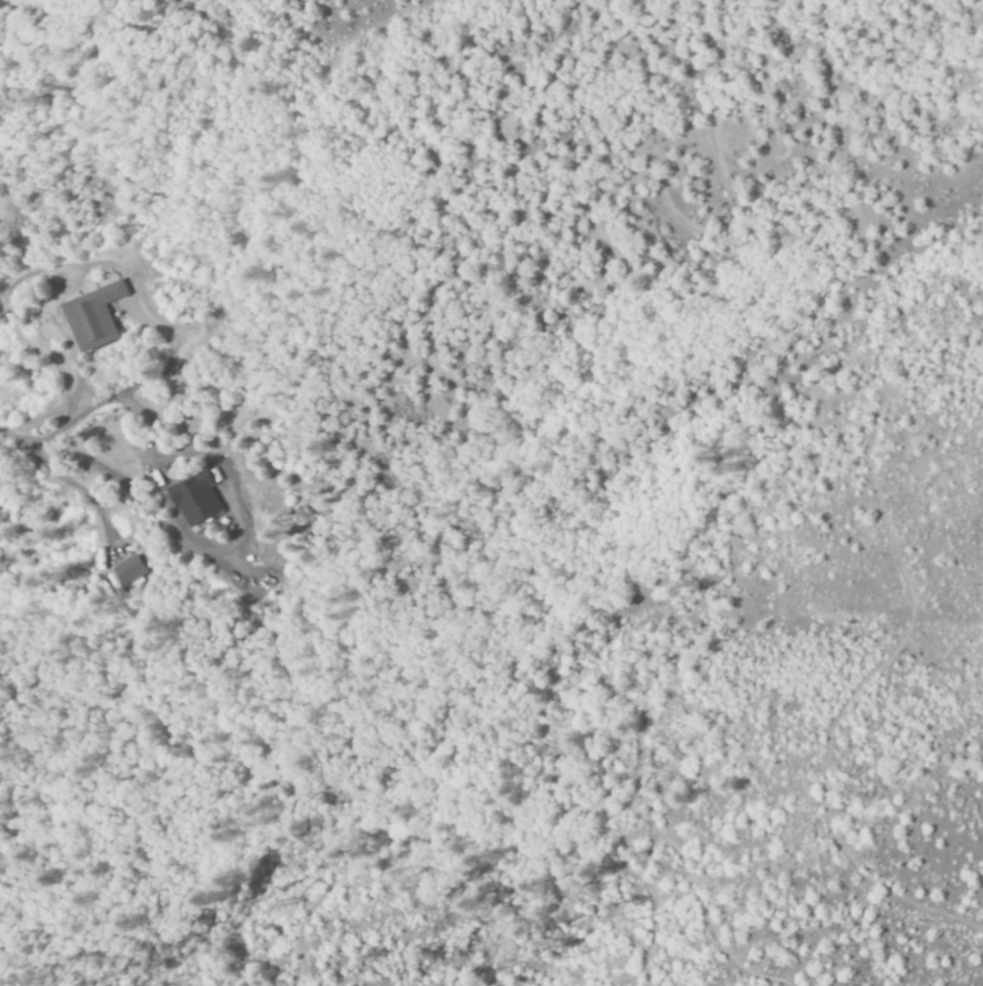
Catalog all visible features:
road: (523, 218)
building: (90, 317)
building: (194, 499)
road: (885, 515)
building: (128, 571)
road: (640, 728)

